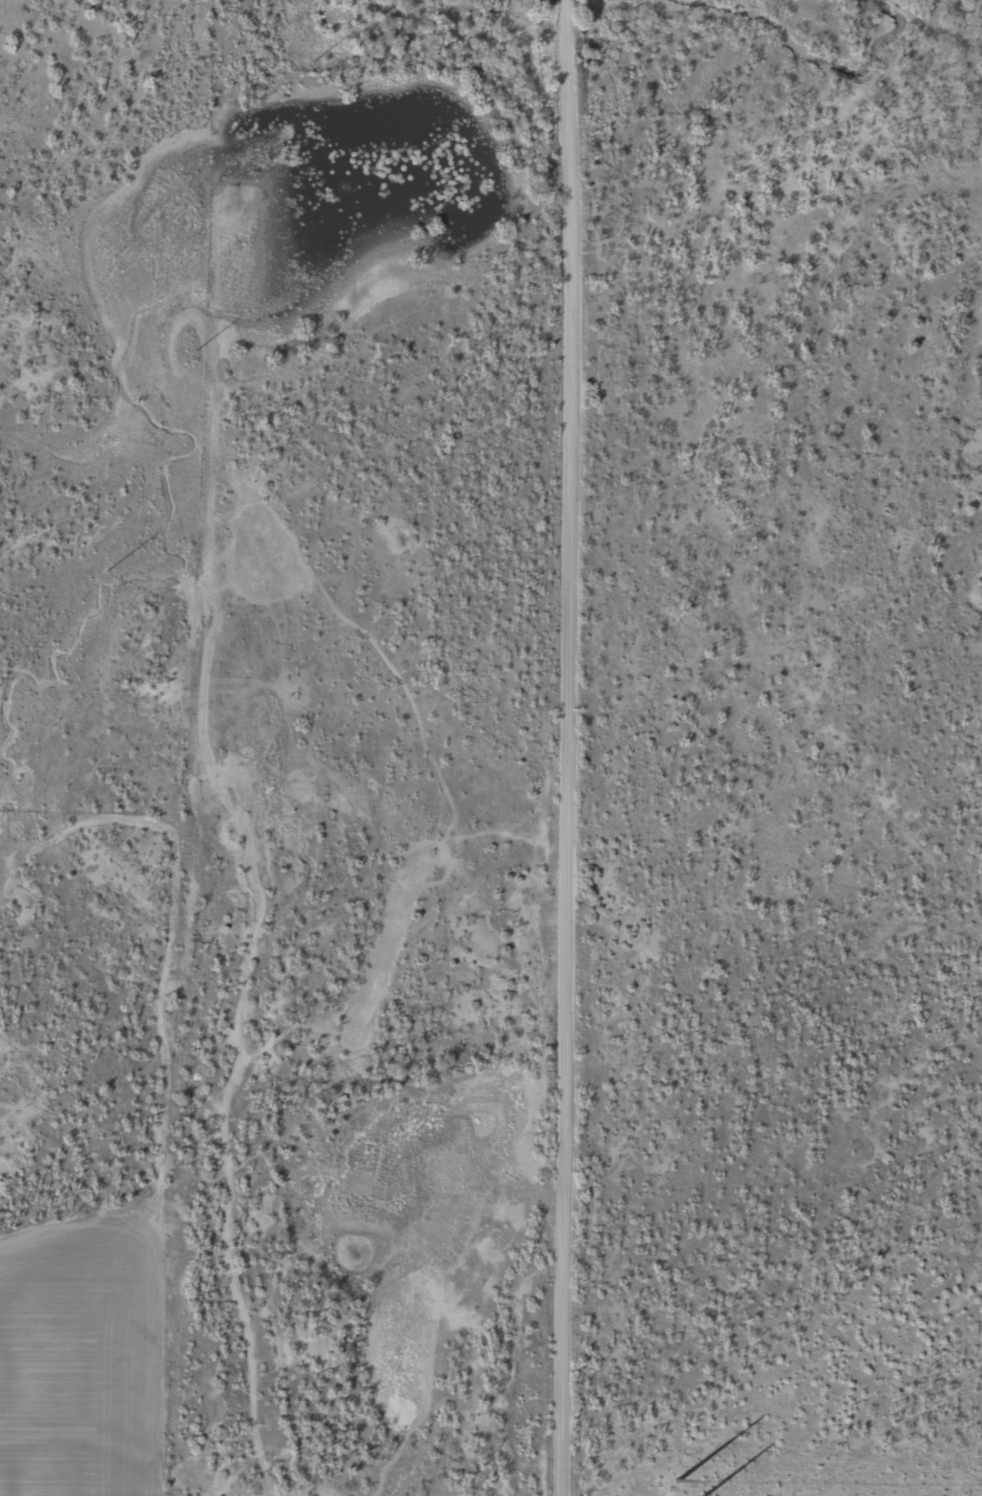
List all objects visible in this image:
power tower: (248, 224)
power tower: (108, 566)
road: (572, 747)
road: (235, 1352)
power tower: (678, 1495)

